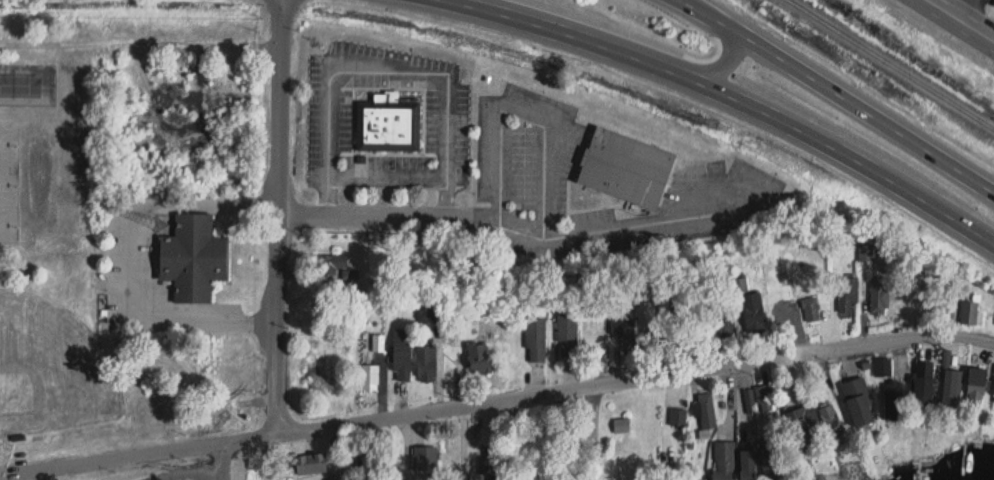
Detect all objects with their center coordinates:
road: (688, 2)
road: (690, 2)
road: (966, 9)
road: (962, 19)
road: (633, 42)
railway: (890, 64)
road: (391, 68)
park: (28, 82)
road: (843, 97)
road: (733, 98)
road: (522, 111)
building: (388, 125)
park: (9, 143)
building: (625, 169)
road: (389, 171)
park: (9, 183)
park: (9, 223)
road: (511, 229)
park: (141, 238)
road: (283, 240)
building: (866, 252)
building: (193, 257)
road: (133, 260)
building: (848, 295)
building: (880, 295)
building: (812, 309)
building: (752, 310)
building: (970, 313)
building: (568, 334)
building: (626, 334)
building: (536, 340)
building: (403, 355)
building: (478, 358)
building: (427, 364)
building: (883, 368)
building: (370, 378)
building: (977, 385)
building: (951, 386)
building: (923, 391)
building: (765, 399)
building: (750, 400)
building: (895, 400)
building: (859, 402)
road: (497, 404)
building: (708, 411)
building: (829, 415)
building: (801, 425)
road: (598, 435)
road: (410, 443)
road: (464, 444)
road: (224, 457)
building: (426, 459)
building: (769, 460)
building: (724, 461)
building: (310, 464)
building: (747, 465)
road: (193, 471)
road: (224, 475)
road: (410, 475)
road: (418, 475)
building: (454, 475)

